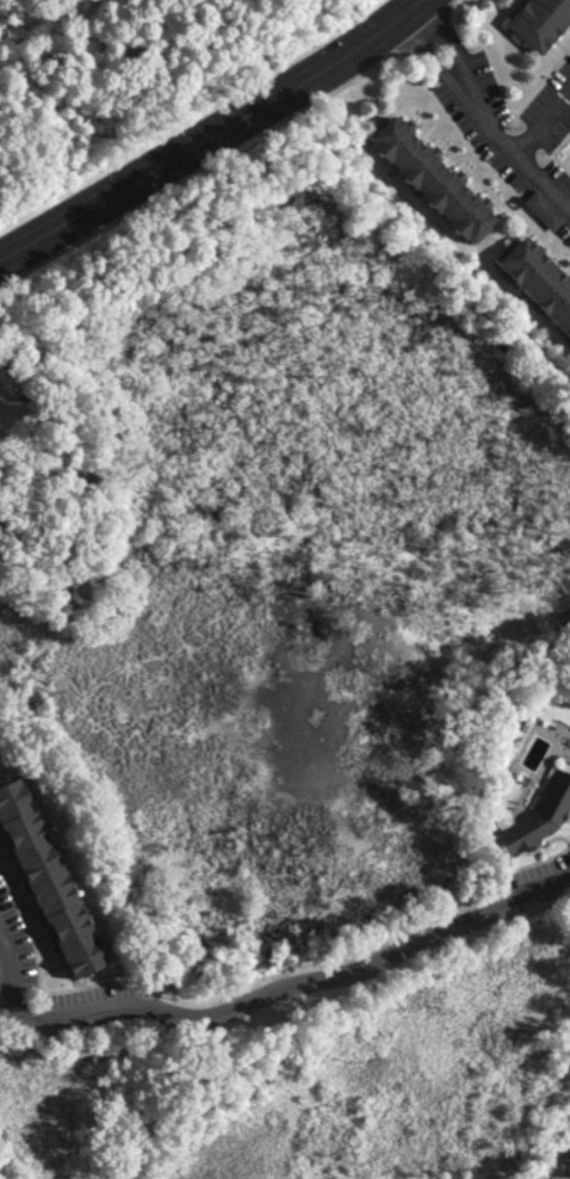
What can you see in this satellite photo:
building: (538, 21)
road: (479, 122)
road: (540, 125)
road: (215, 132)
building: (428, 178)
building: (539, 210)
building: (537, 282)
building: (535, 816)
building: (44, 881)
road: (6, 976)
road: (290, 989)
building: (566, 1162)

